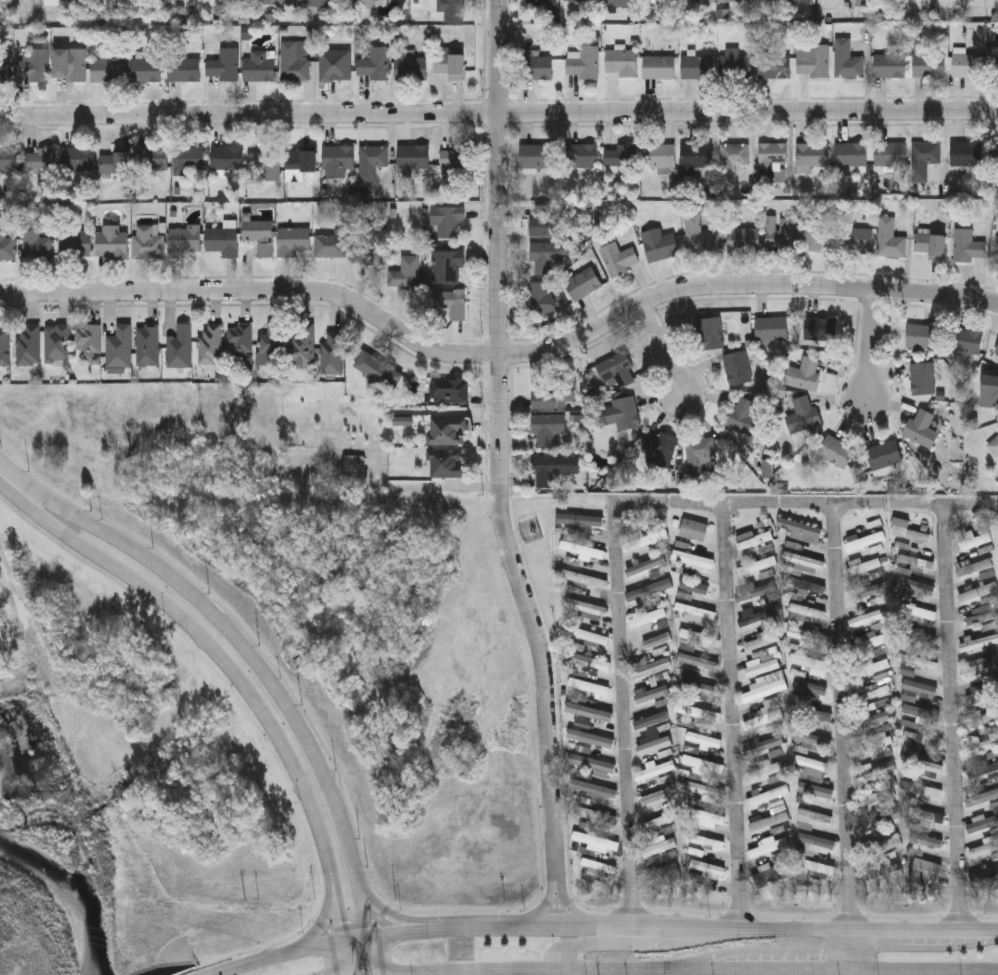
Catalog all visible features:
building: (793, 0)
building: (916, 0)
building: (580, 1)
building: (694, 1)
building: (724, 1)
building: (861, 1)
building: (542, 2)
building: (315, 3)
building: (615, 3)
building: (452, 11)
building: (812, 60)
building: (846, 60)
building: (294, 61)
building: (583, 61)
building: (620, 62)
building: (928, 64)
building: (69, 65)
building: (375, 65)
building: (889, 65)
building: (967, 65)
building: (33, 66)
building: (224, 66)
building: (449, 66)
building: (658, 66)
building: (696, 66)
building: (736, 66)
building: (773, 66)
building: (409, 67)
building: (535, 67)
building: (335, 69)
building: (4, 70)
building: (183, 70)
building: (258, 70)
building: (145, 71)
building: (106, 72)
road: (498, 114)
building: (965, 153)
building: (995, 153)
building: (889, 154)
building: (924, 154)
building: (534, 155)
building: (581, 155)
building: (659, 155)
building: (695, 155)
building: (812, 155)
building: (850, 155)
building: (773, 156)
building: (227, 158)
building: (338, 158)
building: (413, 158)
building: (457, 159)
building: (9, 160)
building: (151, 160)
building: (620, 160)
building: (731, 160)
building: (77, 161)
building: (188, 161)
building: (39, 162)
building: (115, 163)
building: (300, 163)
building: (371, 163)
building: (264, 166)
building: (546, 221)
building: (447, 222)
building: (781, 233)
building: (696, 235)
building: (819, 235)
building: (259, 237)
building: (743, 239)
building: (890, 239)
building: (859, 240)
building: (997, 240)
building: (35, 242)
building: (148, 242)
building: (292, 242)
building: (111, 243)
building: (184, 243)
building: (75, 244)
building: (222, 244)
building: (658, 244)
building: (929, 246)
building: (968, 246)
building: (6, 247)
building: (330, 247)
building: (366, 249)
building: (544, 256)
building: (617, 259)
building: (448, 268)
building: (405, 274)
building: (581, 285)
building: (540, 299)
building: (449, 306)
building: (771, 327)
building: (820, 327)
building: (710, 332)
building: (922, 335)
building: (241, 340)
building: (966, 340)
building: (89, 342)
building: (211, 343)
building: (58, 344)
road: (872, 344)
building: (148, 345)
building: (271, 345)
building: (302, 345)
building: (5, 346)
building: (27, 346)
building: (119, 347)
building: (179, 347)
road: (662, 349)
building: (996, 350)
building: (332, 352)
road: (499, 355)
building: (736, 367)
building: (616, 369)
building: (378, 370)
building: (803, 372)
building: (922, 377)
building: (989, 390)
building: (449, 391)
building: (554, 396)
building: (621, 412)
building: (802, 413)
building: (744, 415)
building: (921, 426)
building: (546, 428)
building: (446, 430)
building: (660, 444)
building: (993, 444)
road: (501, 446)
building: (836, 450)
building: (884, 453)
building: (698, 455)
building: (448, 464)
building: (550, 467)
building: (350, 470)
road: (10, 483)
road: (807, 503)
building: (582, 520)
building: (694, 530)
building: (801, 530)
building: (905, 530)
building: (641, 537)
building: (865, 541)
building: (975, 541)
building: (583, 549)
building: (804, 560)
building: (646, 566)
building: (757, 566)
building: (864, 567)
building: (974, 568)
building: (584, 579)
building: (805, 585)
building: (918, 587)
building: (650, 589)
building: (871, 590)
building: (756, 591)
building: (978, 592)
road: (158, 603)
building: (586, 607)
building: (808, 611)
building: (695, 612)
building: (920, 614)
building: (983, 614)
building: (647, 617)
building: (758, 617)
building: (865, 617)
building: (588, 636)
building: (697, 637)
building: (808, 637)
building: (918, 637)
building: (656, 641)
building: (868, 642)
building: (979, 643)
building: (587, 661)
building: (698, 662)
building: (808, 662)
building: (762, 667)
building: (876, 667)
building: (650, 669)
building: (978, 669)
road: (270, 678)
building: (588, 686)
building: (698, 688)
building: (812, 688)
building: (919, 688)
building: (870, 690)
building: (764, 691)
building: (652, 693)
building: (992, 709)
building: (589, 711)
building: (697, 712)
road: (623, 715)
road: (734, 715)
building: (811, 715)
building: (920, 715)
road: (953, 716)
building: (763, 719)
building: (872, 719)
building: (651, 720)
road: (844, 737)
building: (591, 738)
building: (812, 738)
building: (921, 738)
building: (704, 739)
building: (981, 744)
building: (654, 745)
building: (763, 745)
building: (591, 763)
building: (811, 763)
building: (703, 764)
building: (987, 764)
building: (922, 765)
building: (764, 769)
building: (875, 770)
building: (993, 779)
building: (593, 789)
building: (704, 789)
building: (816, 790)
building: (878, 792)
road: (302, 795)
building: (656, 795)
building: (767, 795)
building: (981, 799)
park: (42, 804)
building: (595, 815)
building: (815, 815)
building: (927, 815)
building: (770, 818)
building: (878, 820)
building: (658, 821)
building: (982, 823)
building: (927, 840)
building: (596, 841)
building: (705, 841)
building: (816, 843)
building: (767, 846)
building: (659, 847)
building: (983, 847)
building: (877, 848)
building: (599, 865)
building: (927, 867)
building: (708, 868)
building: (885, 871)
building: (665, 875)
building: (772, 875)
building: (985, 877)
road: (333, 900)
road: (543, 907)
road: (568, 907)
road: (381, 912)
road: (321, 913)
road: (669, 927)
road: (636, 944)
road: (278, 956)
road: (345, 959)
road: (514, 970)
road: (633, 971)
road: (778, 971)
road: (438, 972)
road: (924, 972)
road: (560, 973)

